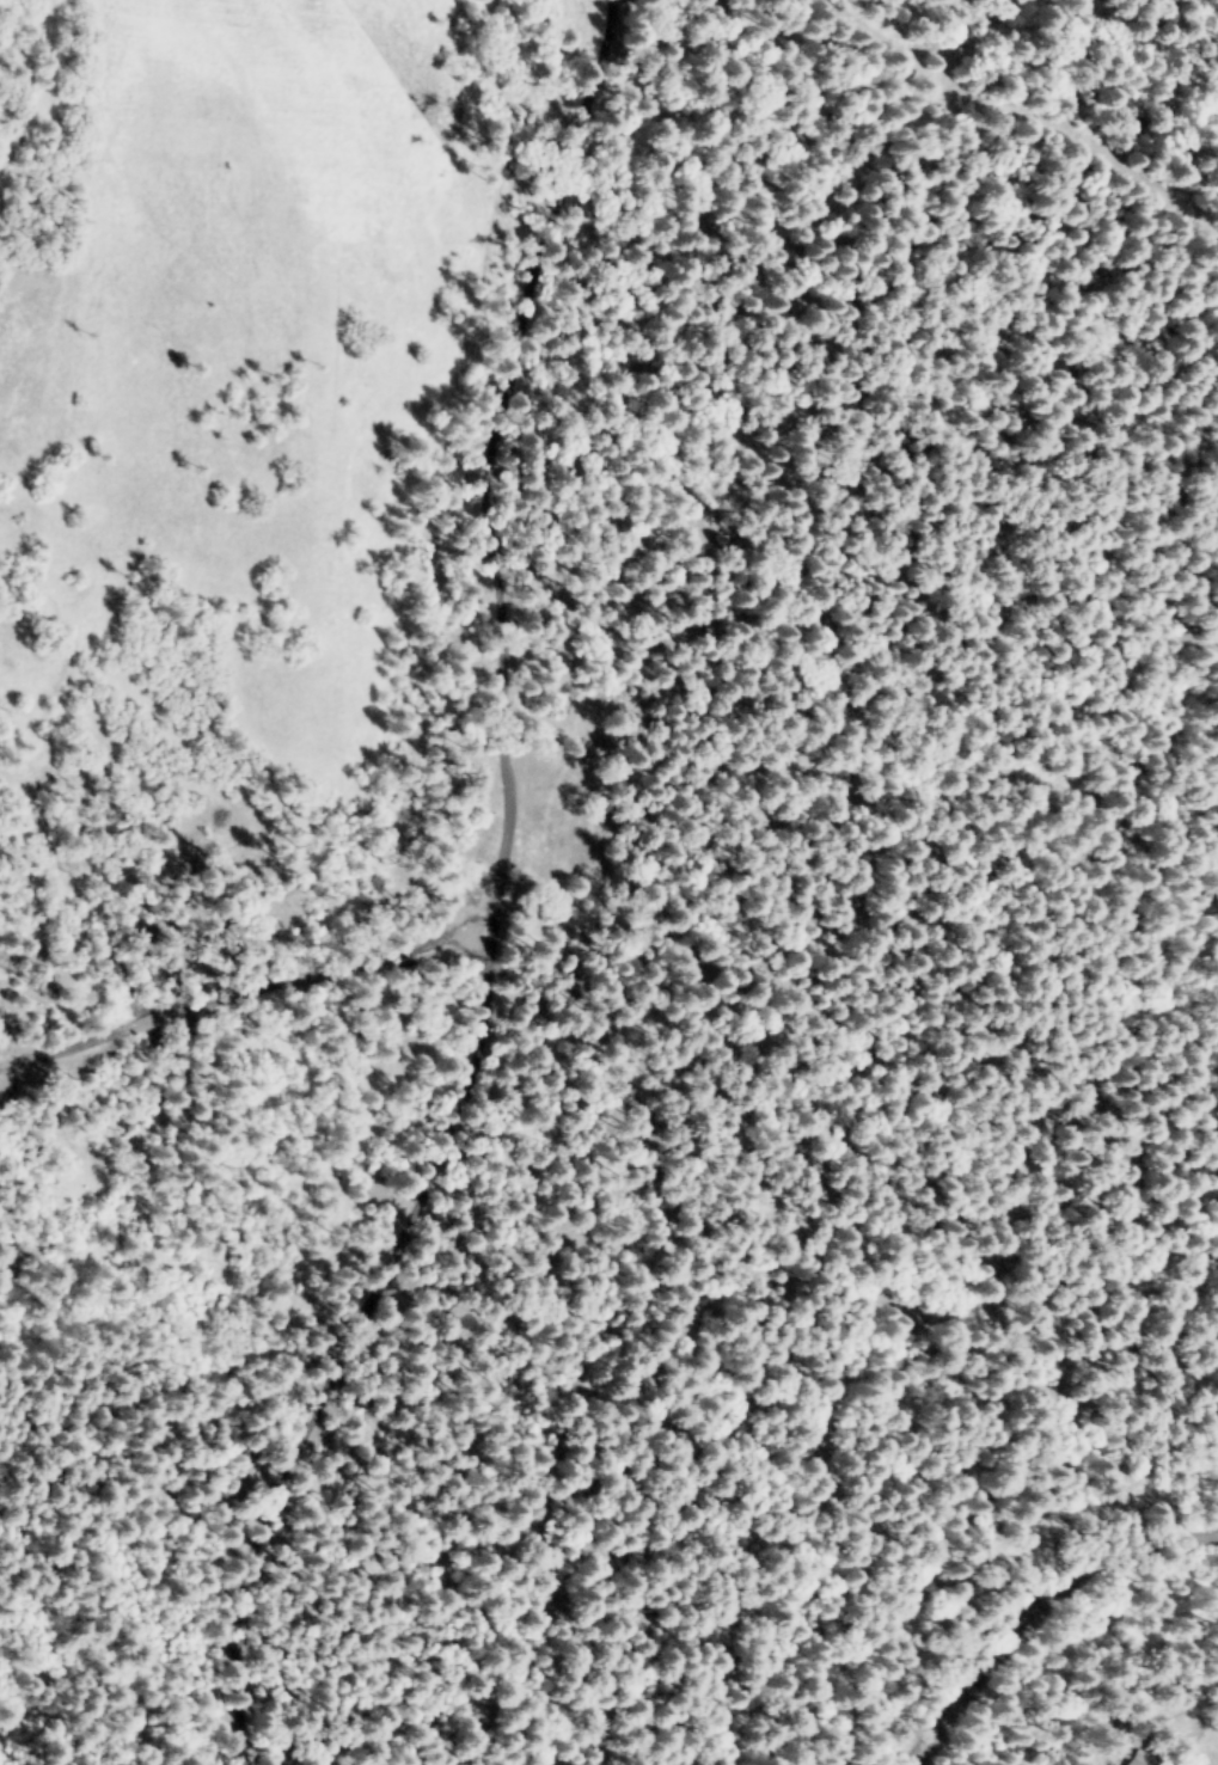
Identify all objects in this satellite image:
road: (601, 882)
road: (470, 1091)
road: (1034, 1606)

